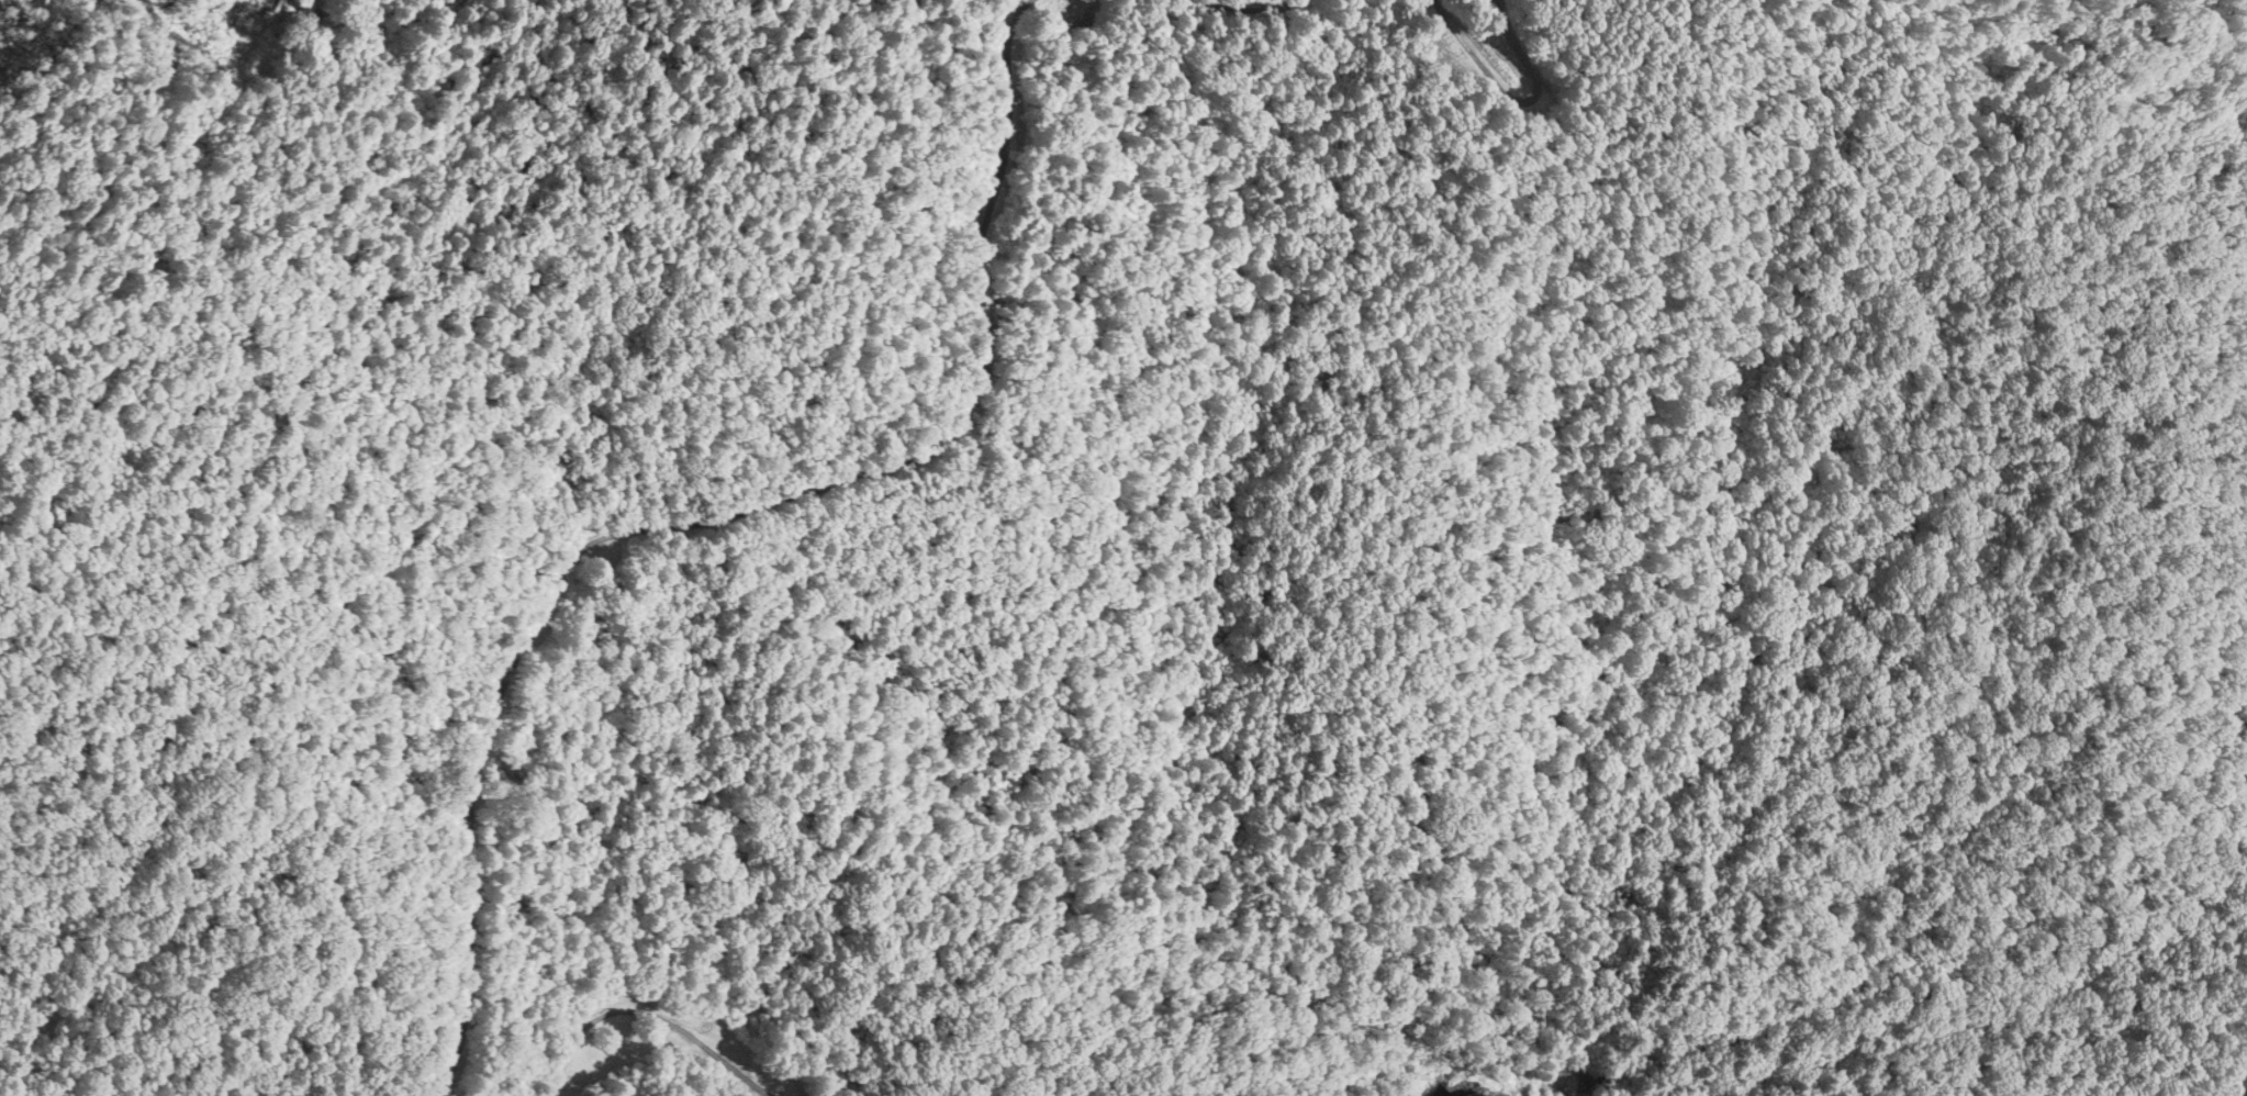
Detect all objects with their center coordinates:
park: (2222, 482)

